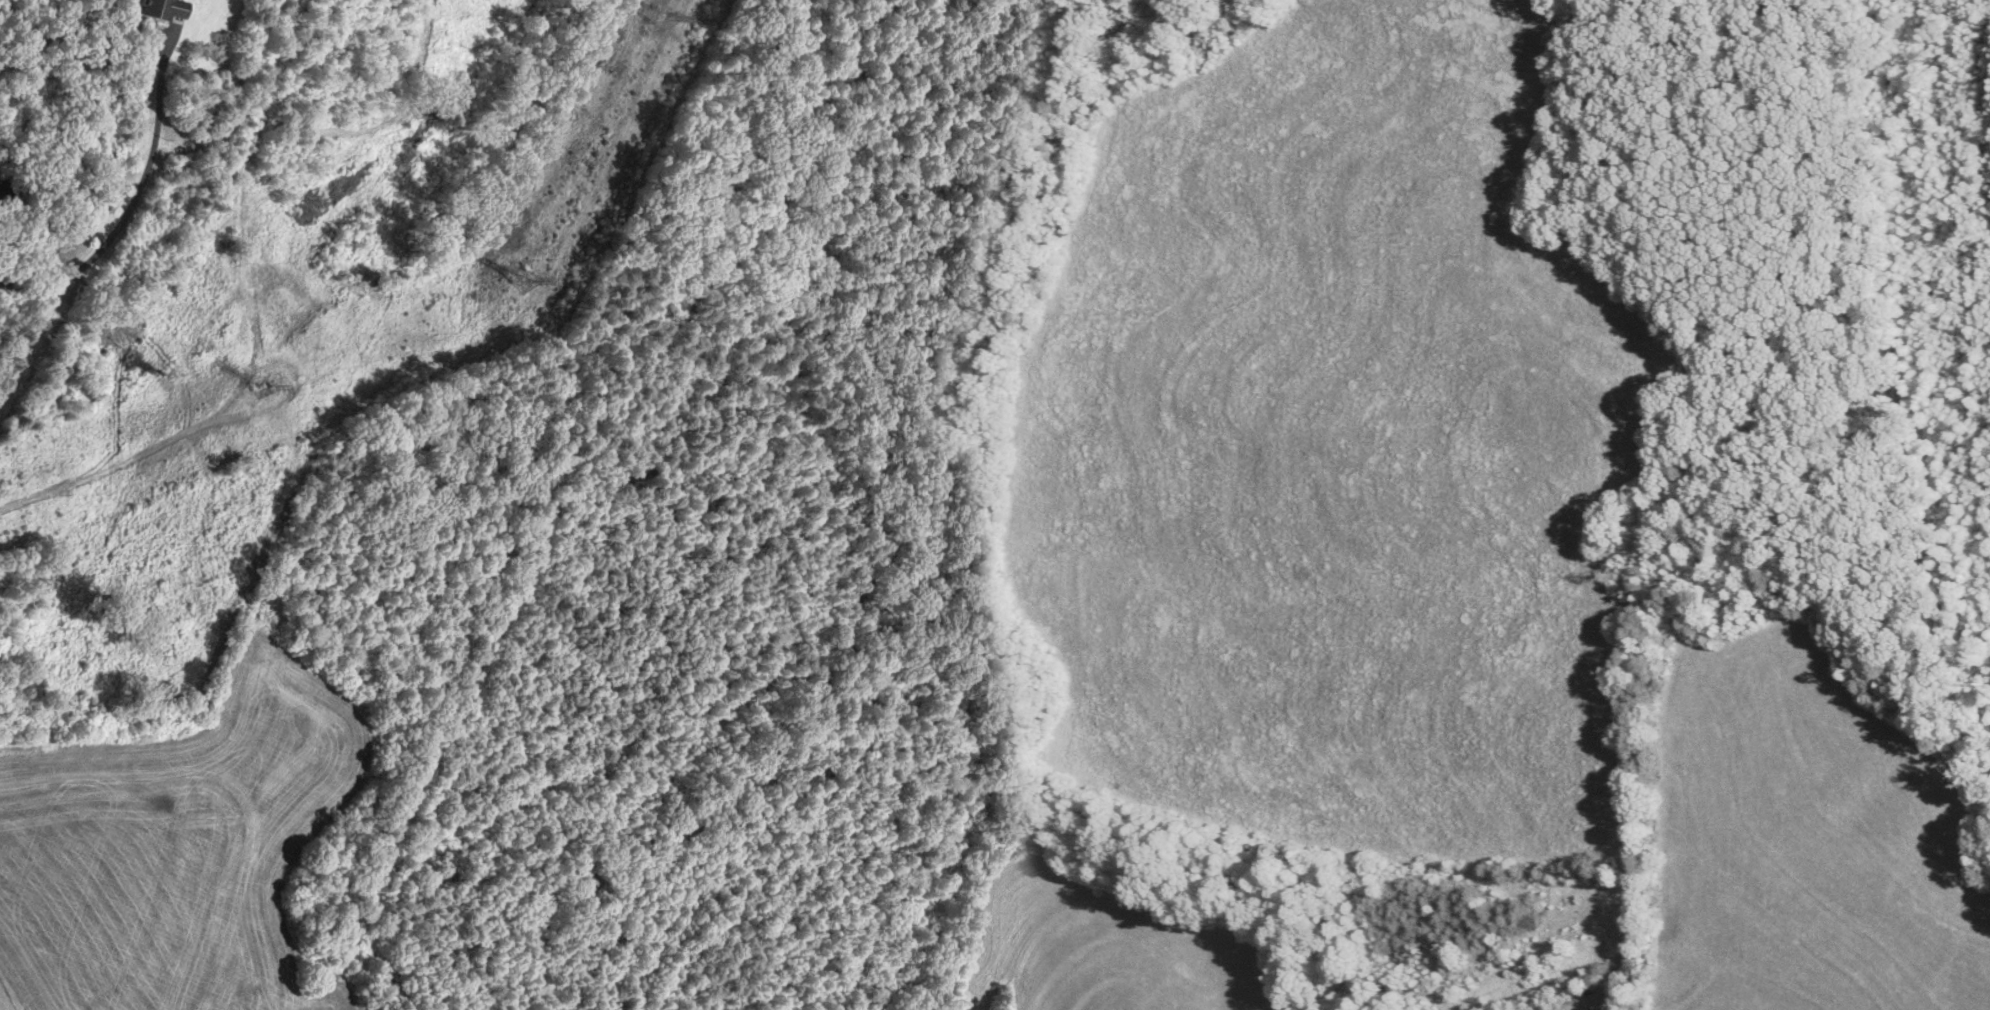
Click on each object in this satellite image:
building: (165, 10)
power tower: (662, 15)
road: (130, 207)
power tower: (526, 277)
power tower: (265, 387)
road: (2, 1004)

